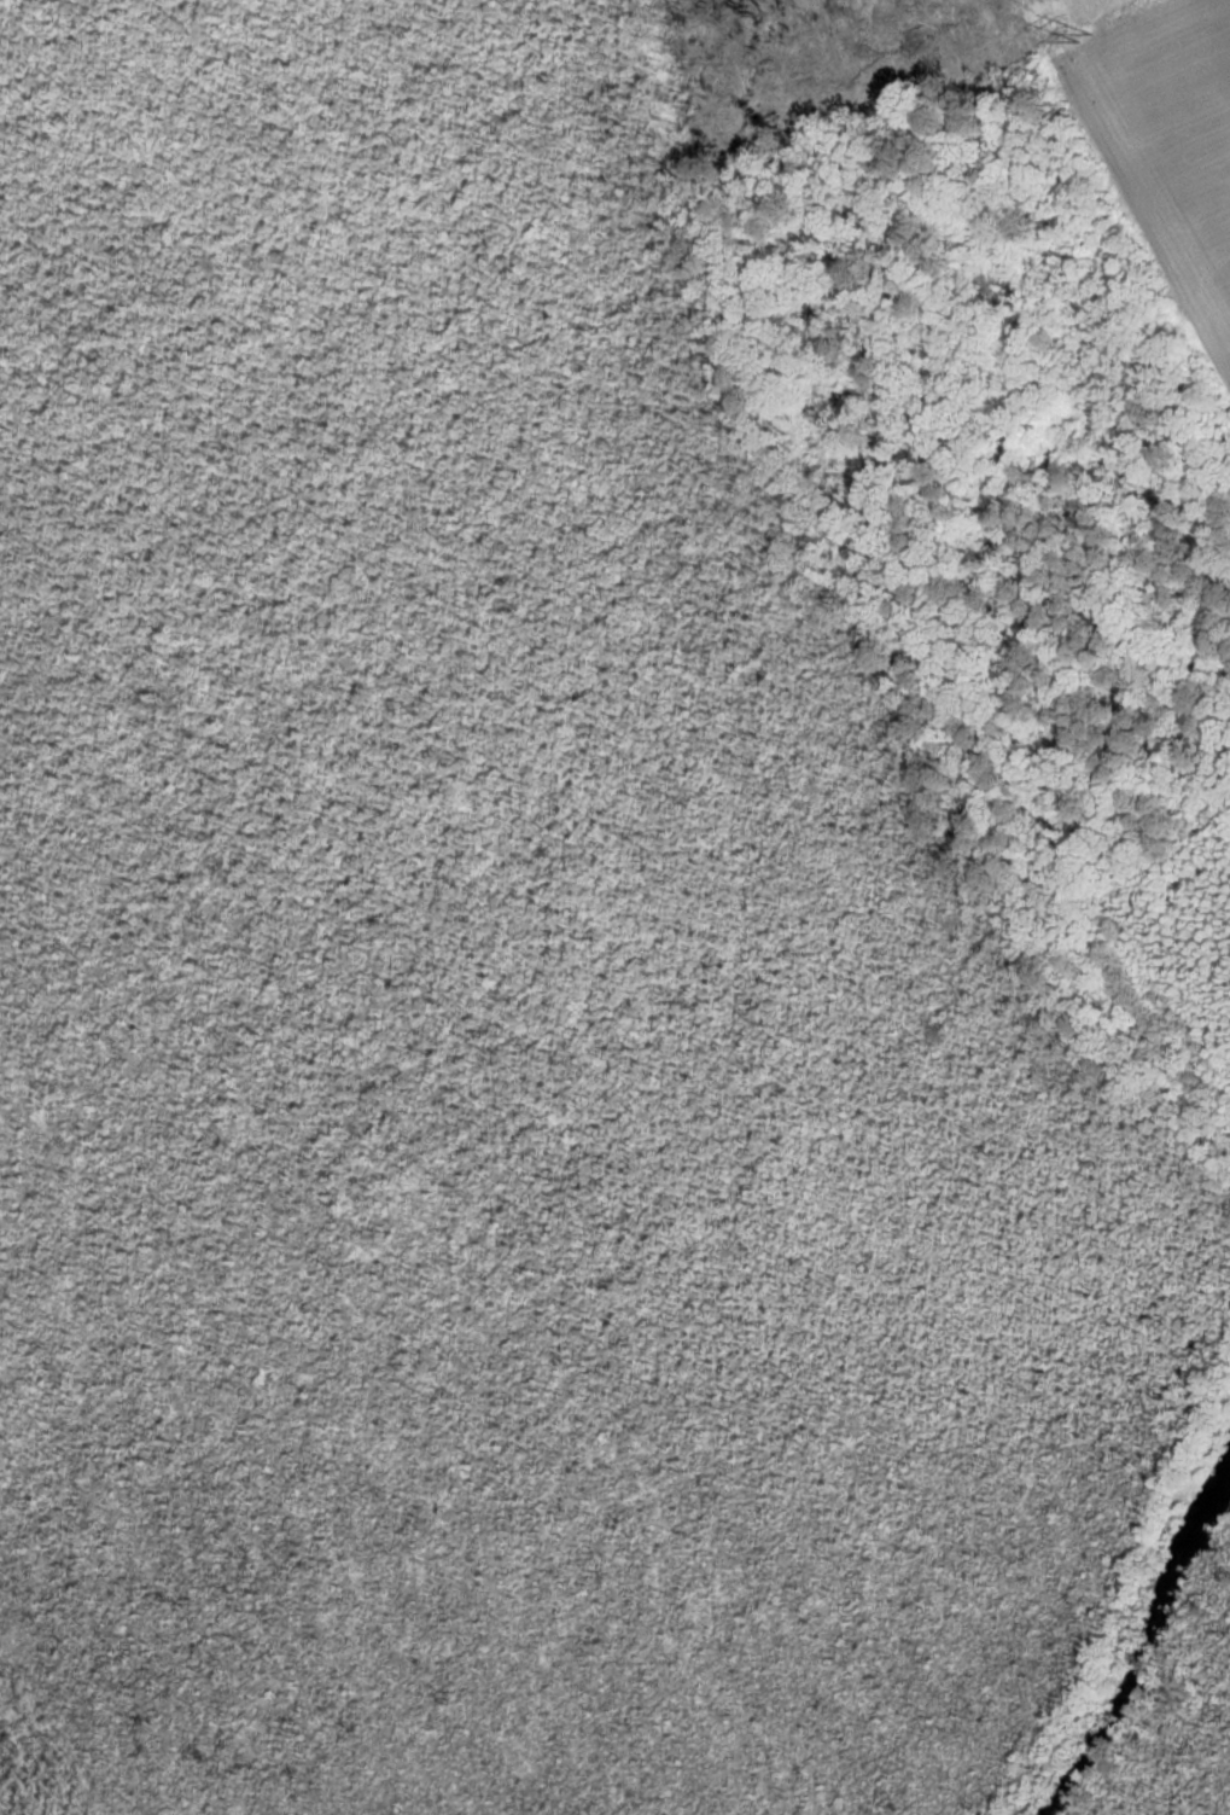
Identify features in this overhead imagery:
power tower: (1084, 37)

